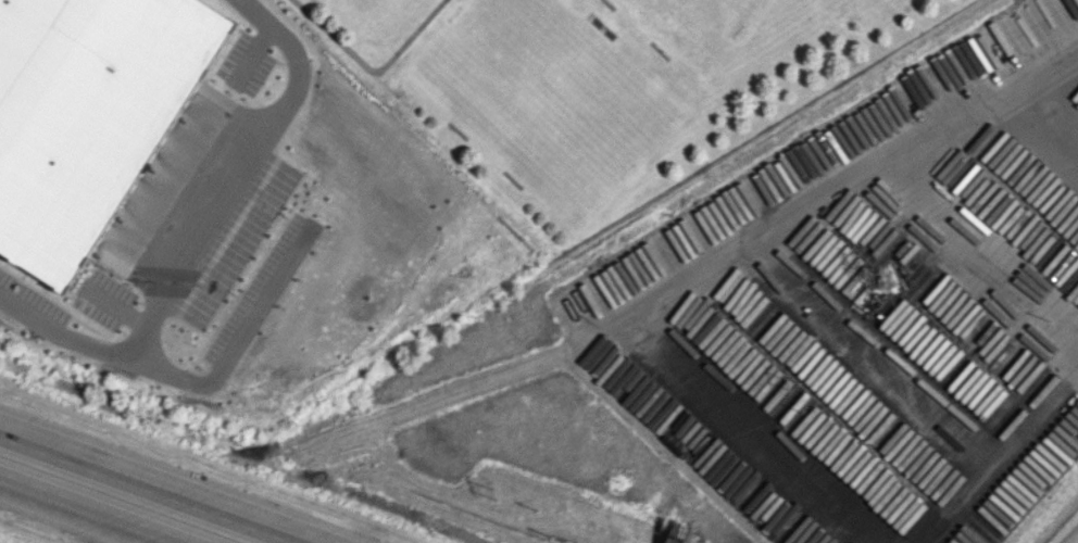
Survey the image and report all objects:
park: (361, 9)
park: (688, 24)
road: (1019, 78)
park: (539, 98)
building: (86, 110)
road: (948, 121)
building: (123, 176)
road: (196, 230)
building: (115, 261)
power tower: (882, 280)
road: (640, 334)
road: (239, 341)
road: (1058, 343)
road: (870, 351)
power tower: (791, 381)
road: (152, 487)
power tower: (493, 492)
road: (92, 509)

